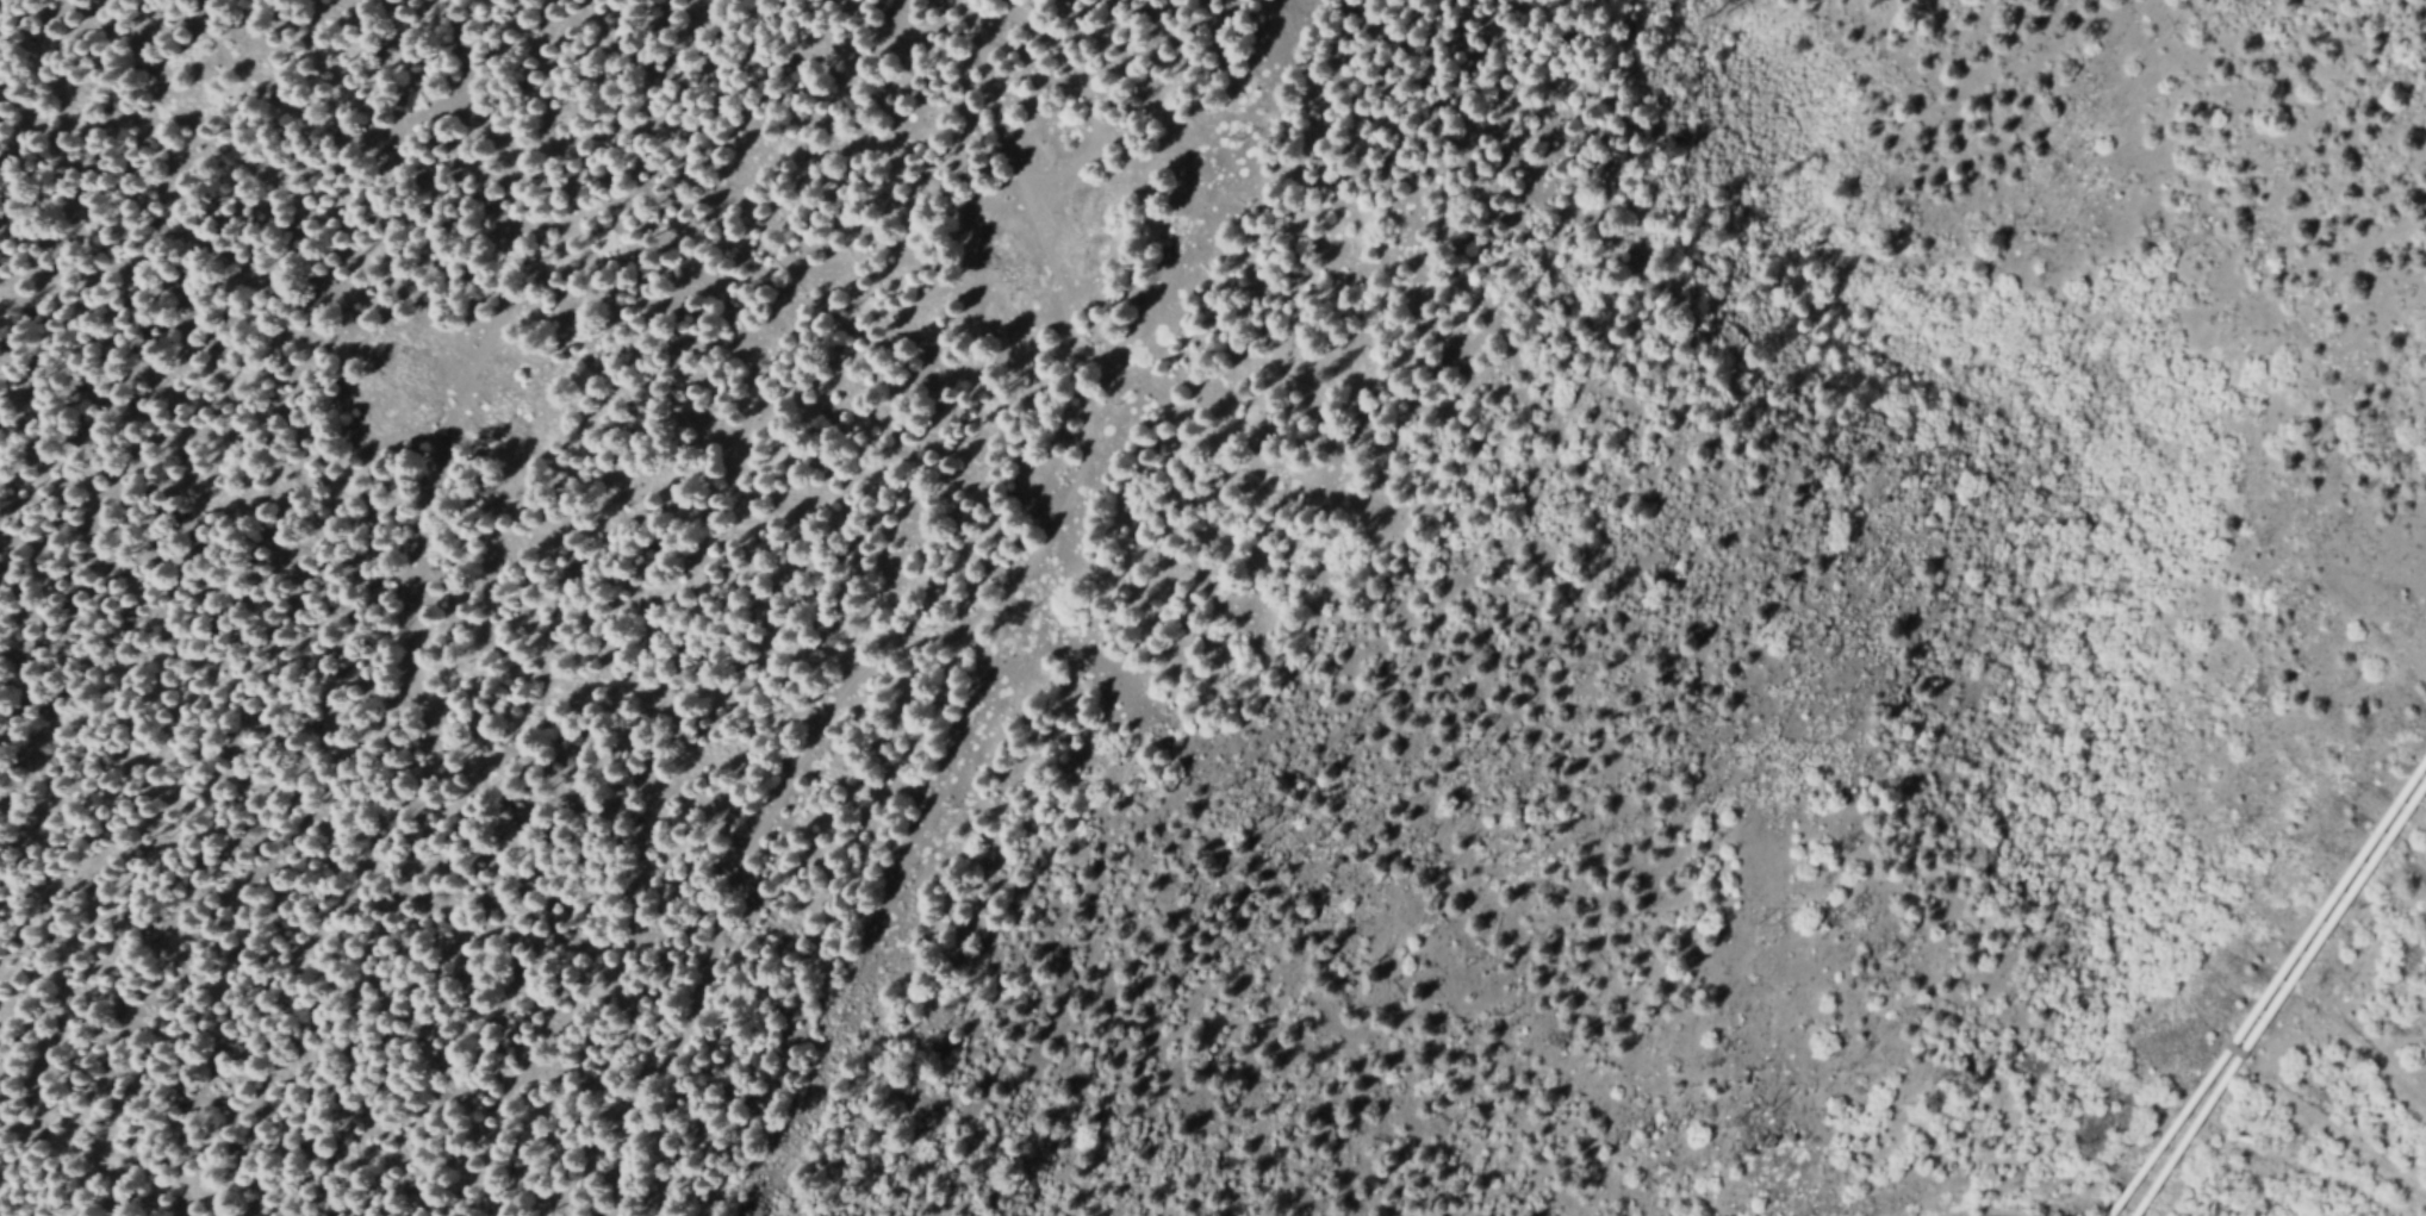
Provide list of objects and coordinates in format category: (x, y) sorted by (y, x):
power tower: (1774, 761)
power tower: (1759, 919)
power tower: (1750, 1110)

